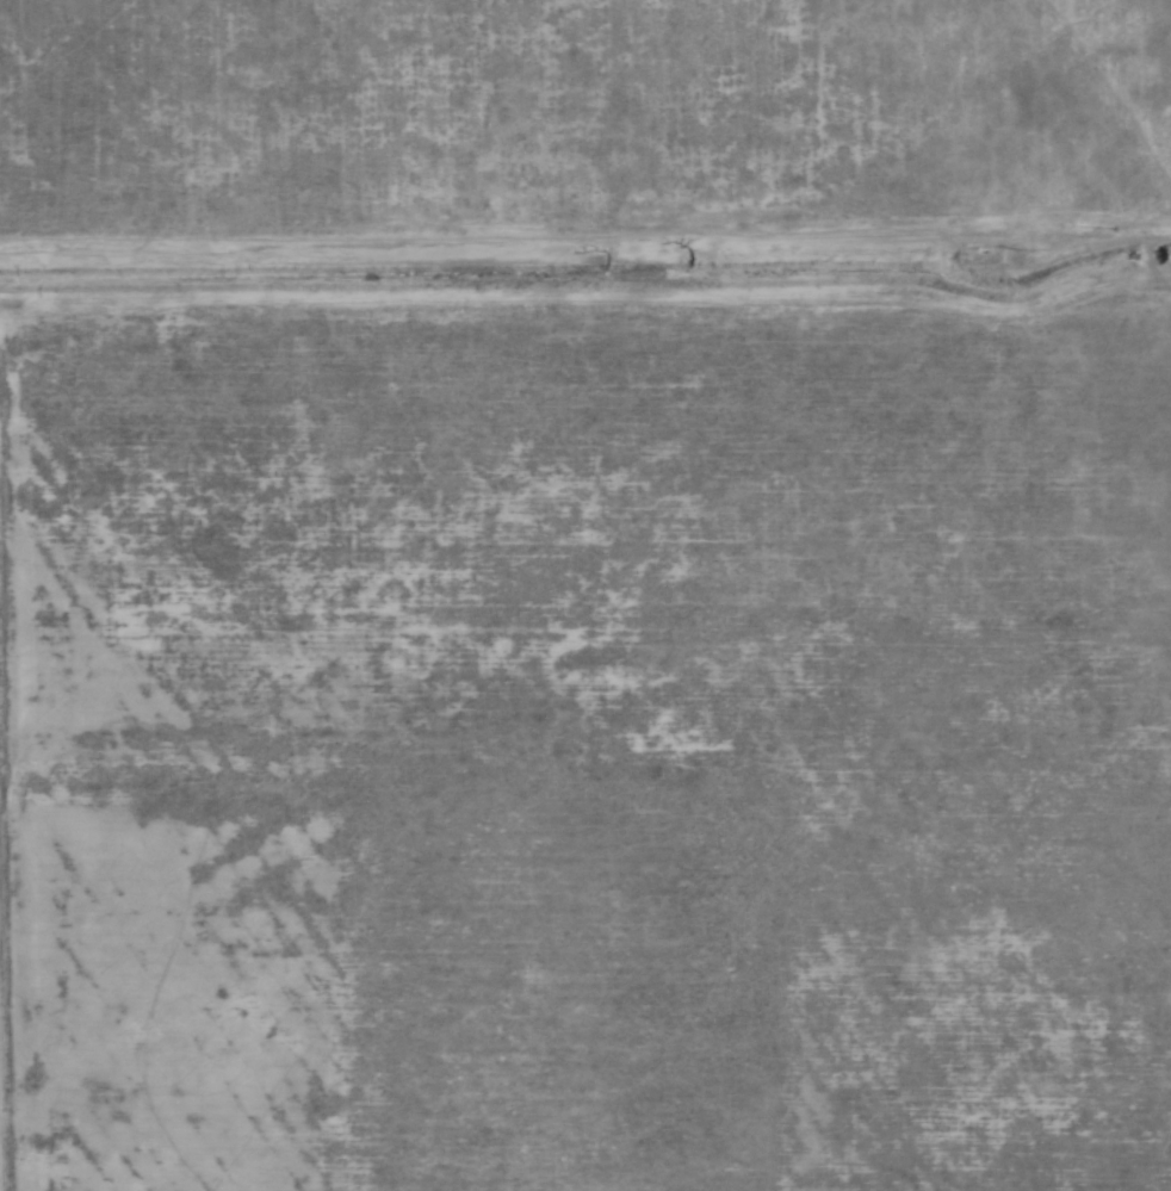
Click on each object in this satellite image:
road: (1115, 82)

